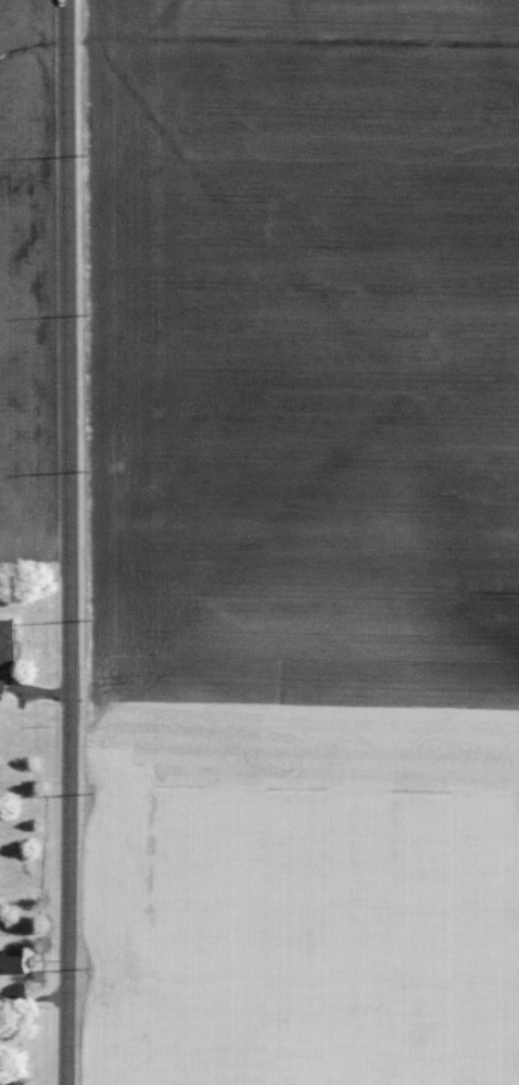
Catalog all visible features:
road: (69, 541)
building: (8, 650)
building: (16, 962)

